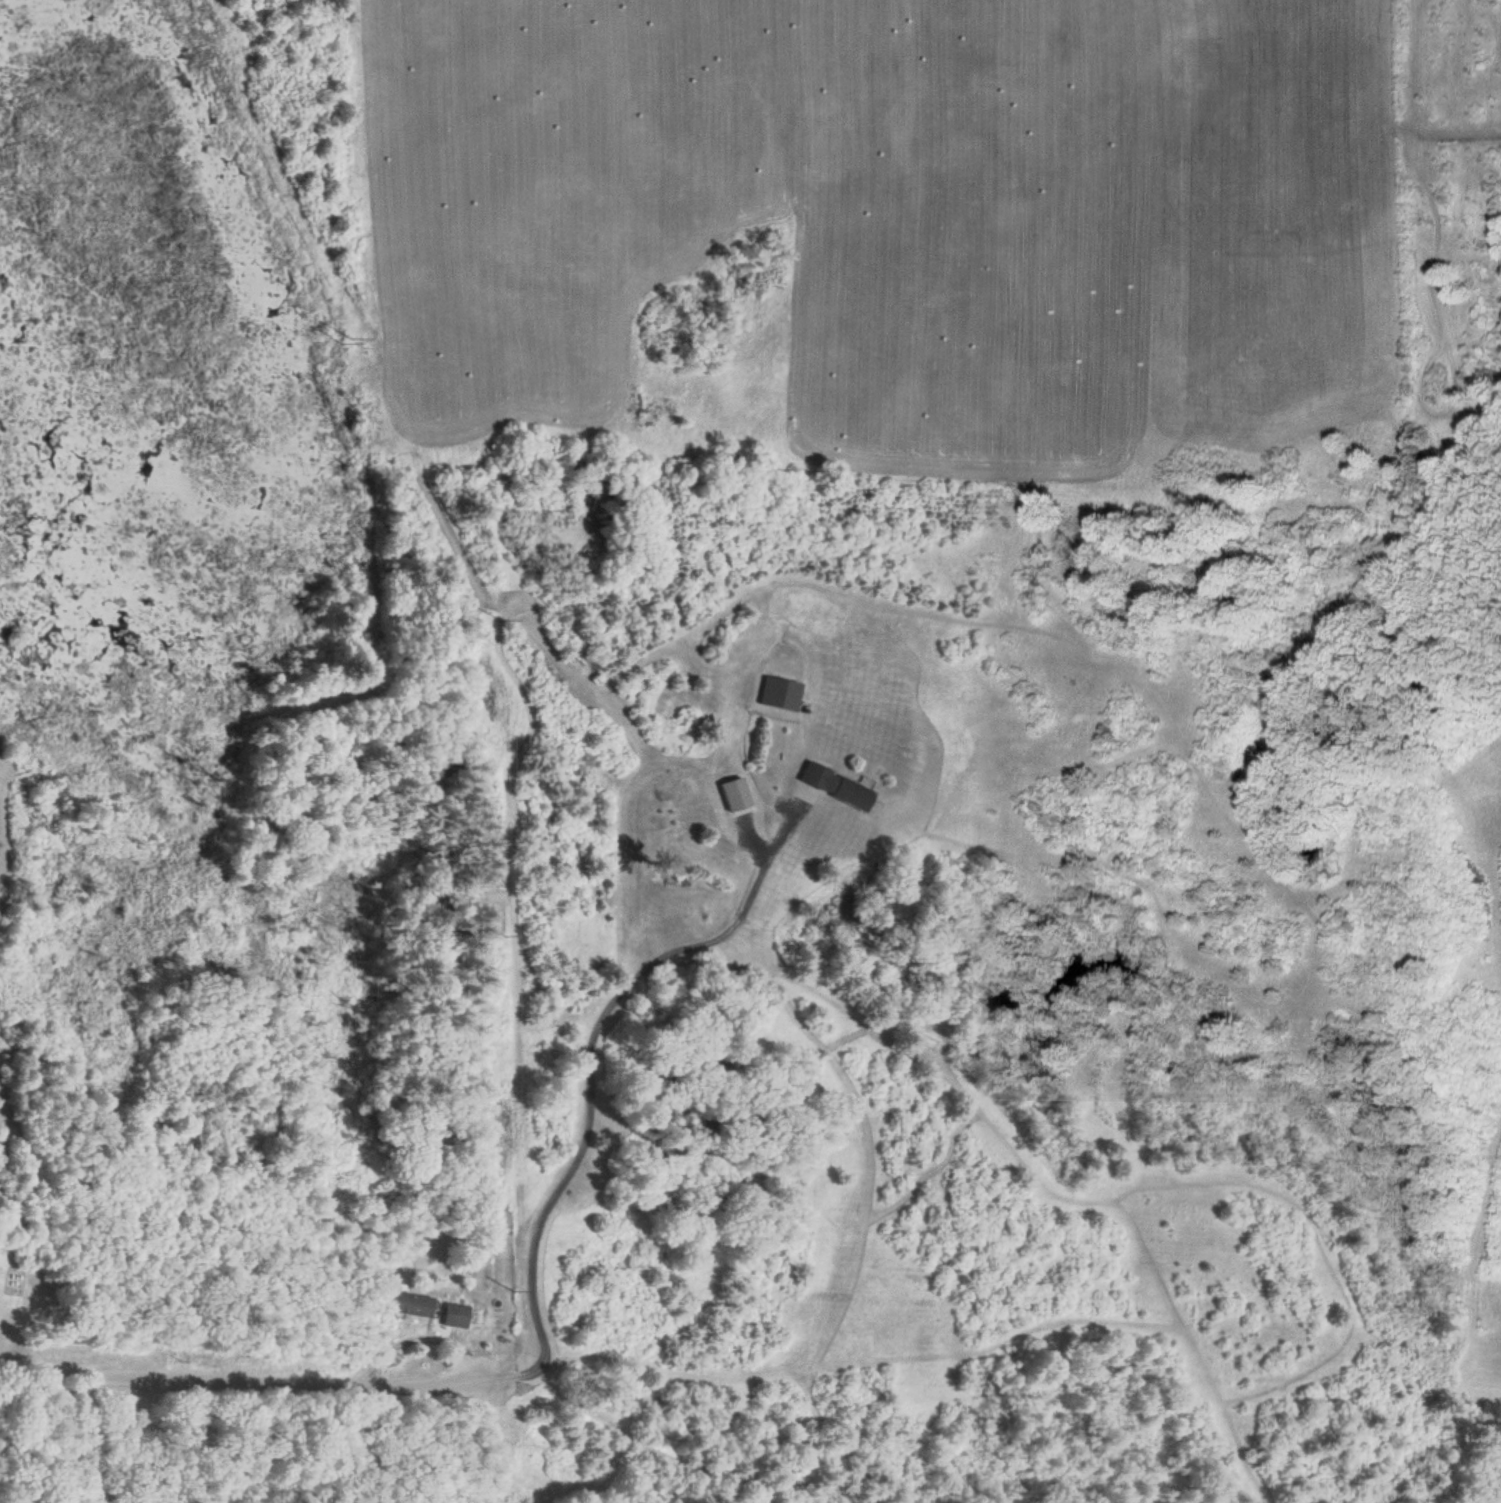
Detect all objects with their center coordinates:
power tower: (346, 343)
building: (779, 693)
building: (835, 786)
building: (735, 794)
building: (409, 1304)
building: (455, 1314)
road: (237, 1381)

